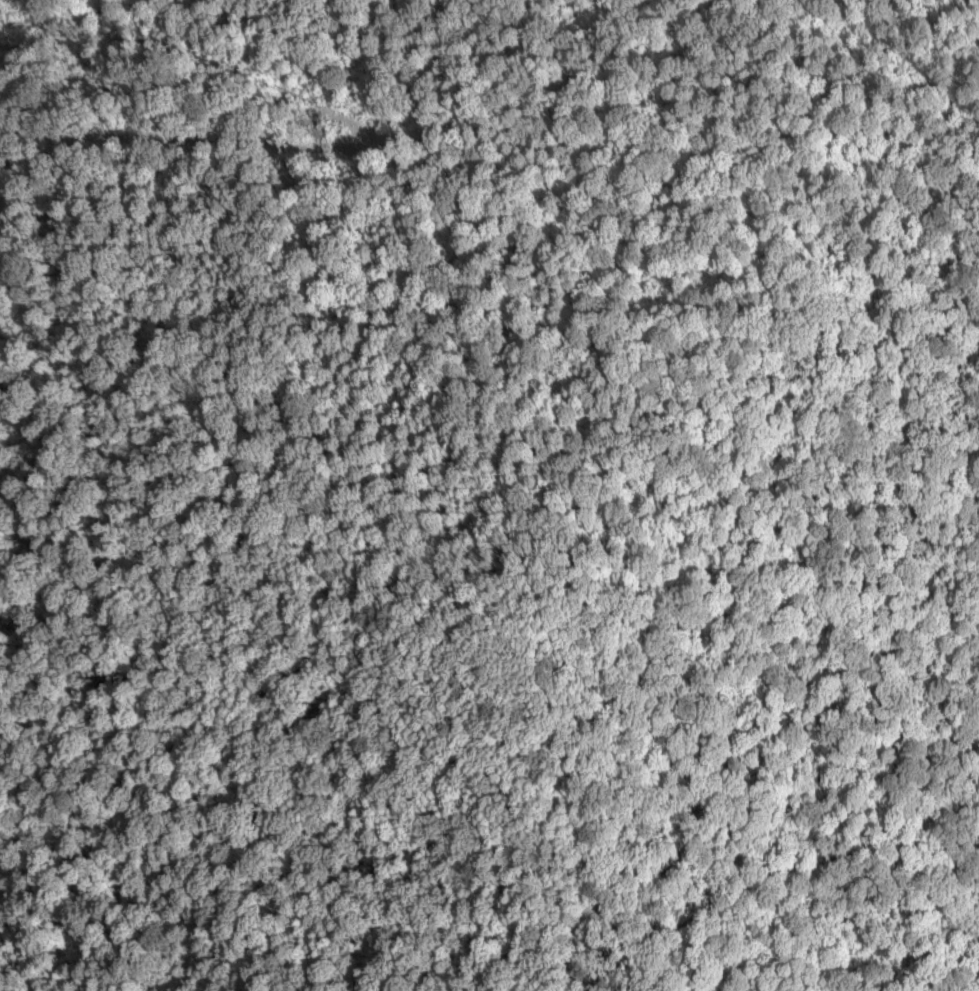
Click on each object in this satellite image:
road: (963, 0)
road: (882, 36)
road: (919, 145)

